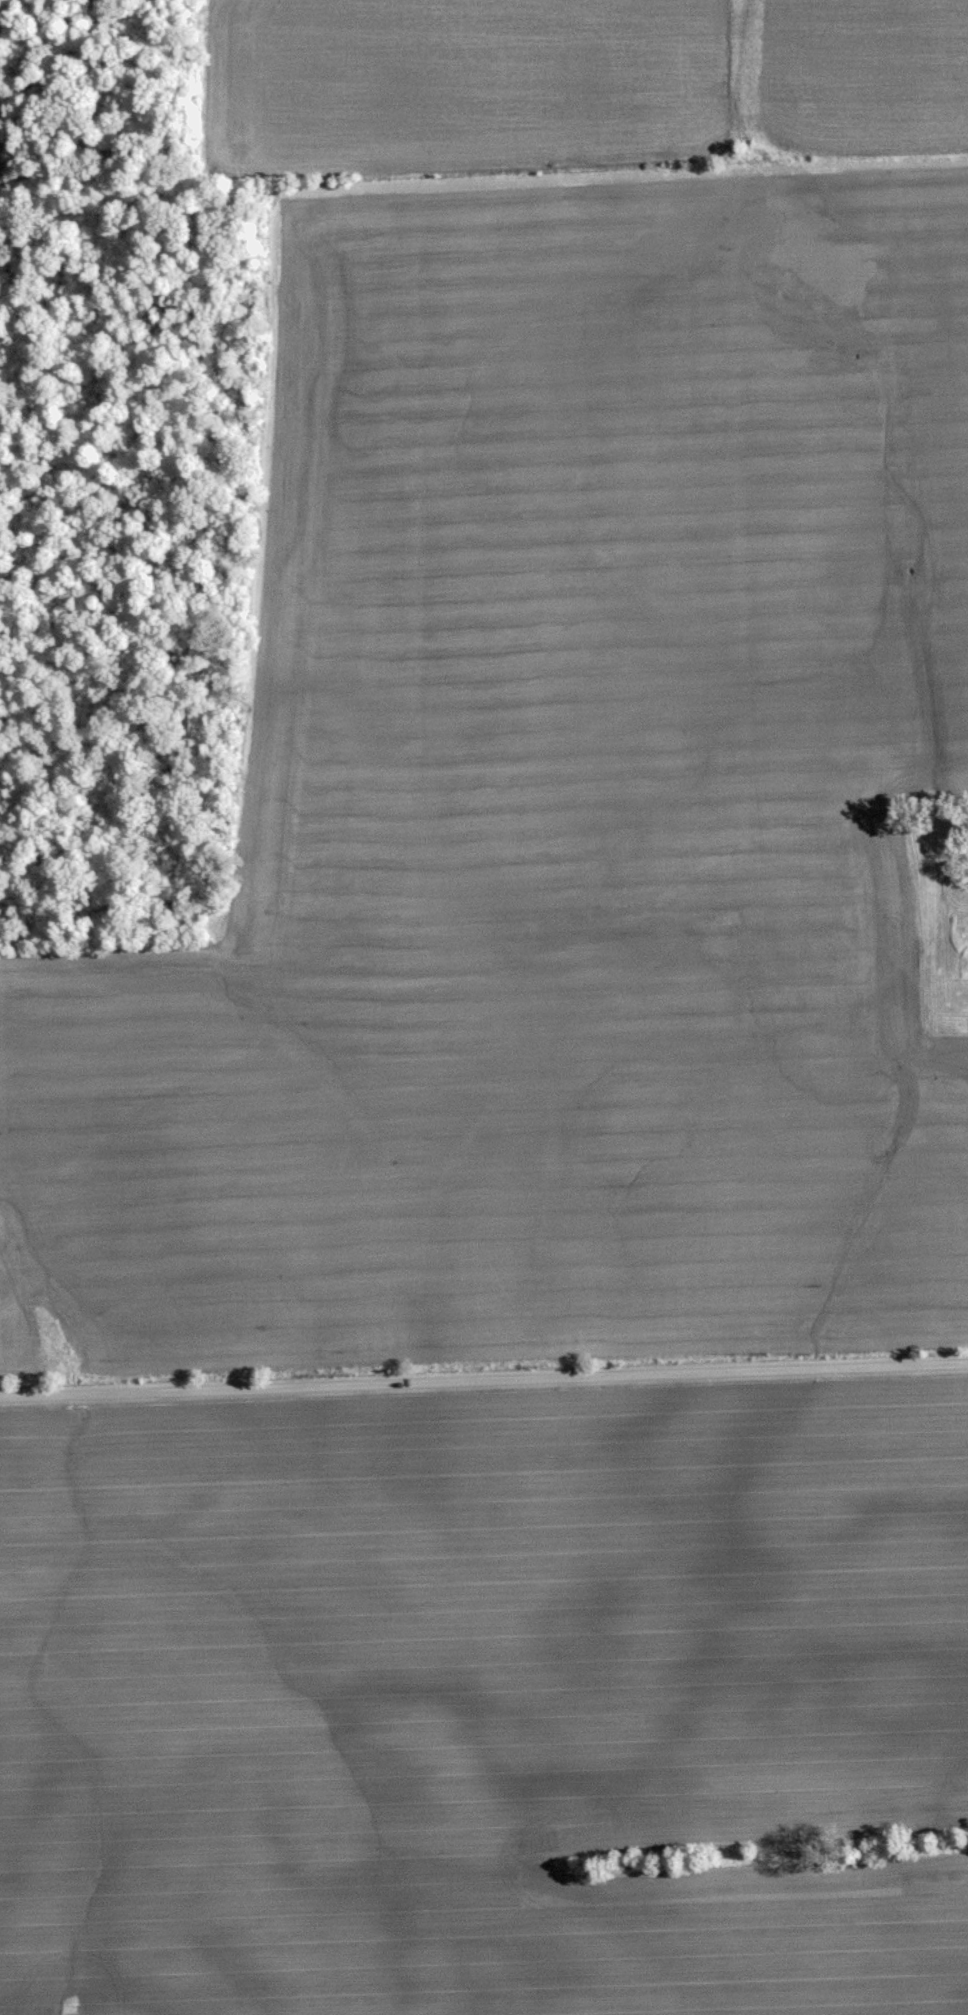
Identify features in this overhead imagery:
road: (484, 1379)

